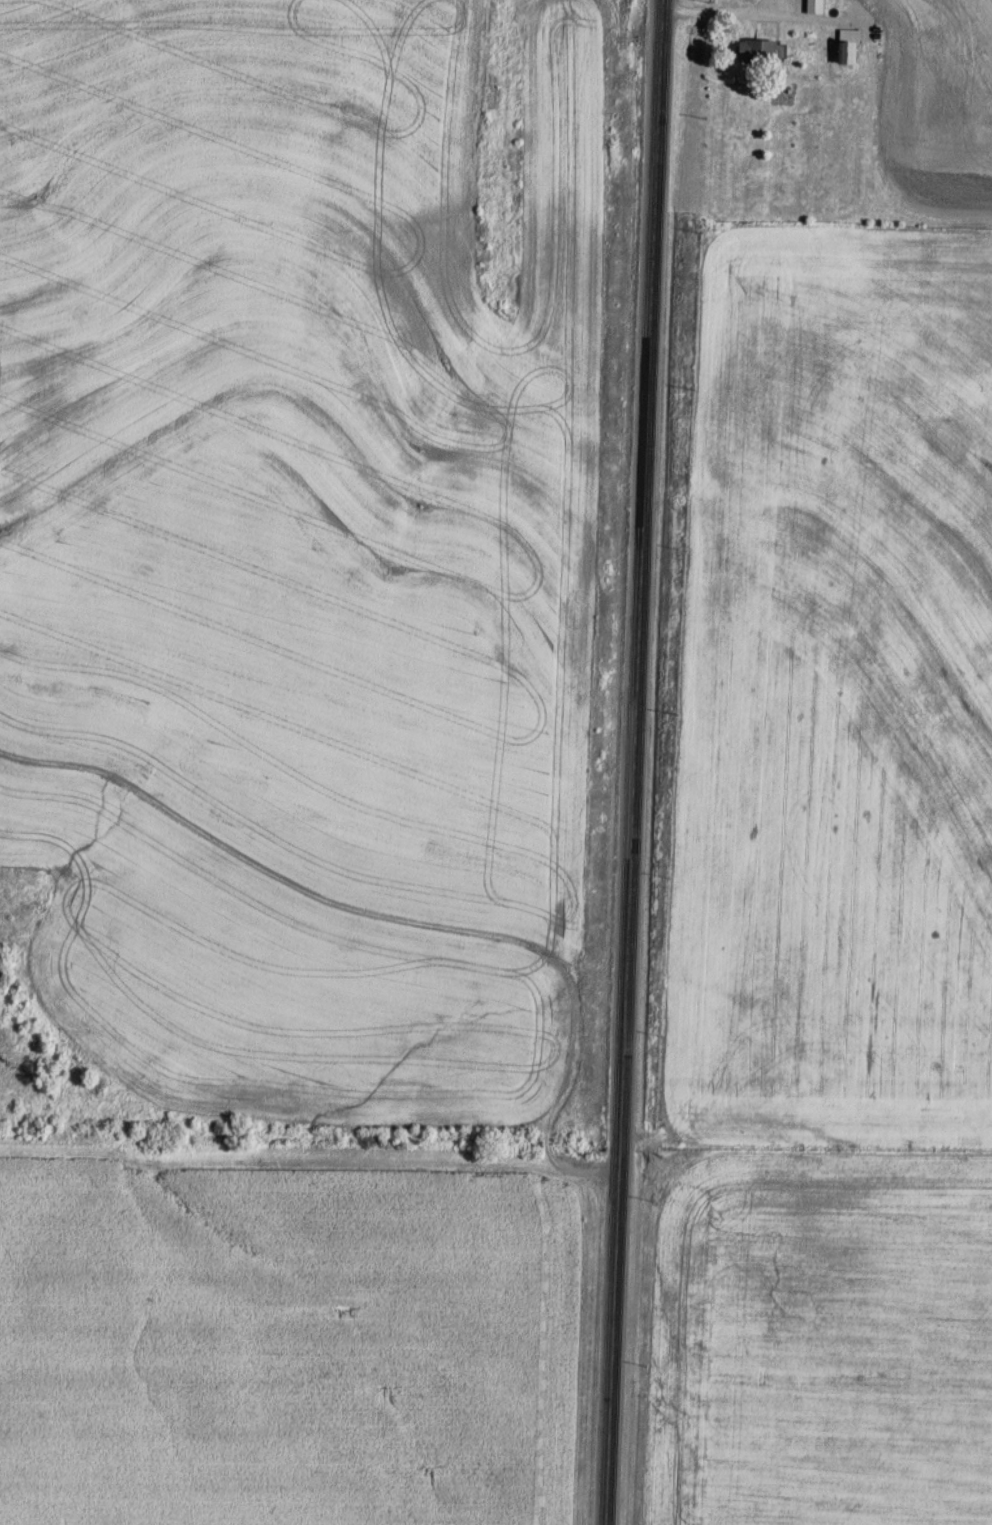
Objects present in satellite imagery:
road: (725, 13)
building: (761, 51)
building: (851, 53)
road: (630, 762)
road: (566, 1088)

